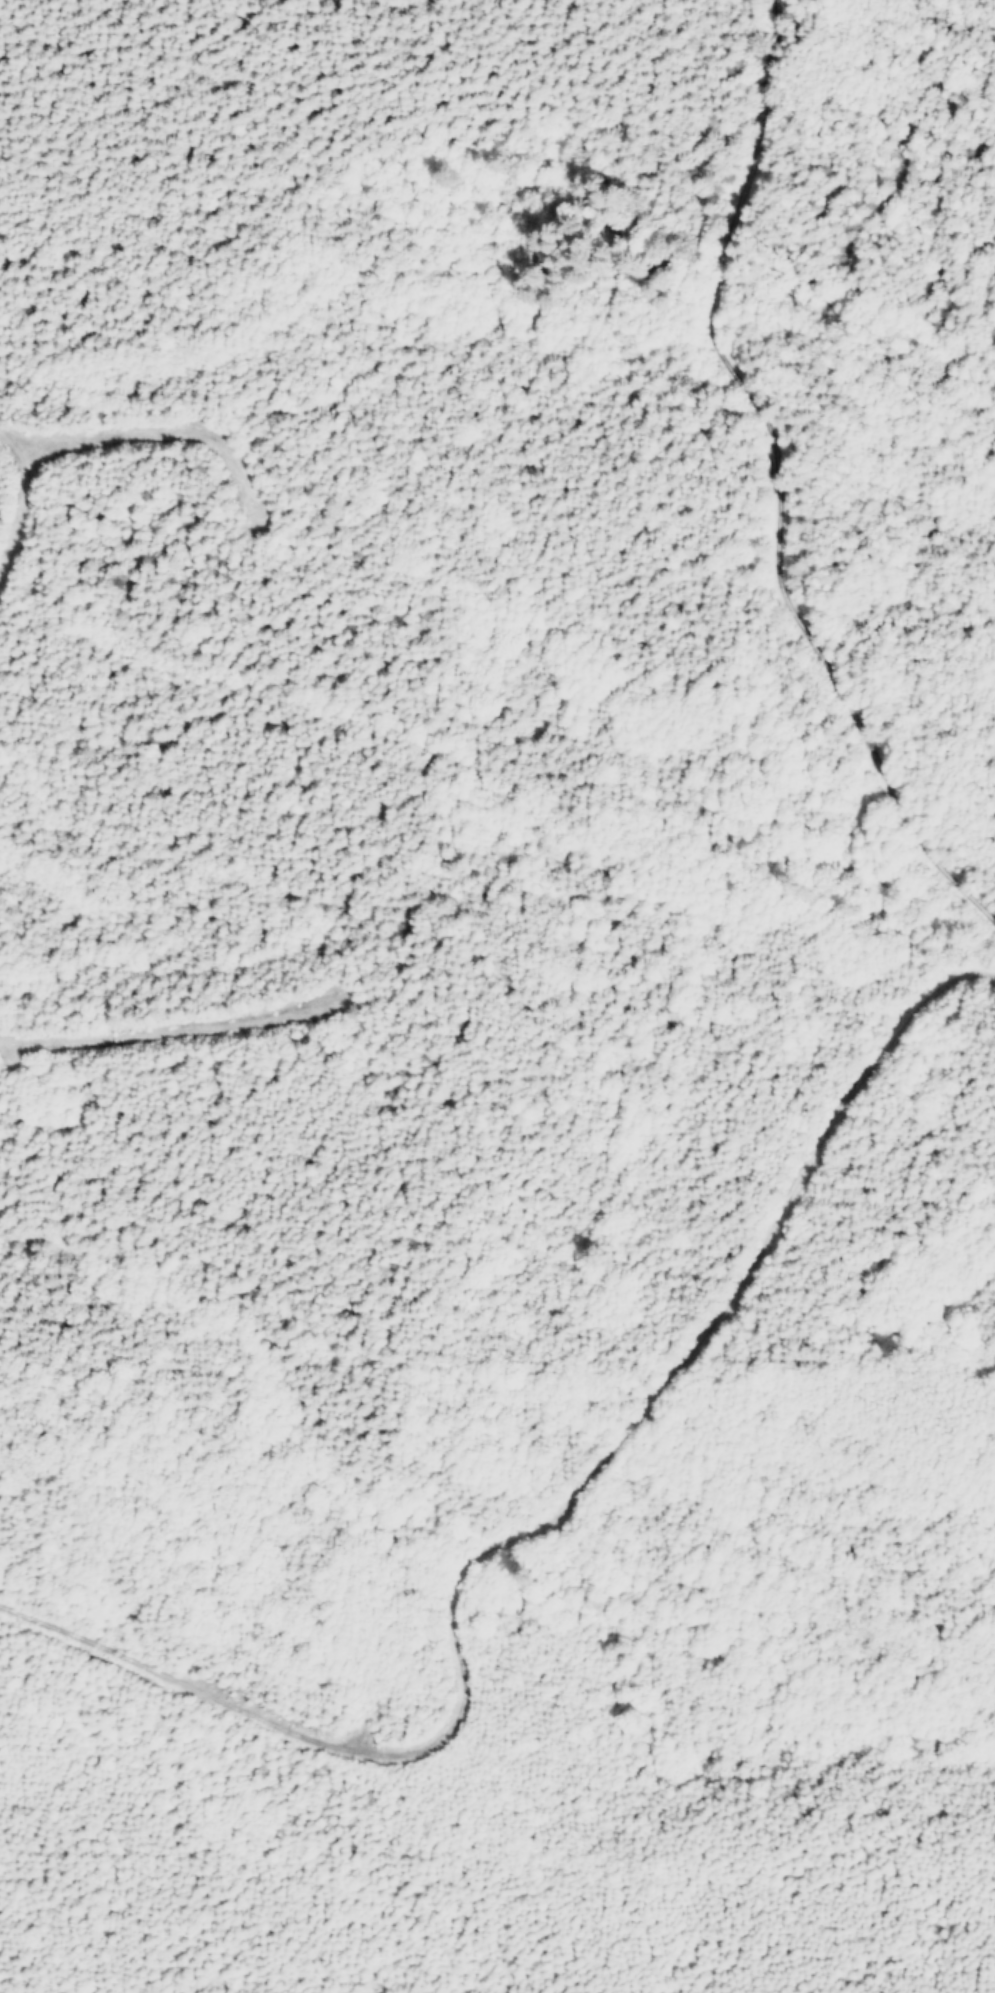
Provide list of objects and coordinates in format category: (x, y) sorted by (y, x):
road: (784, 533)
road: (982, 1195)

